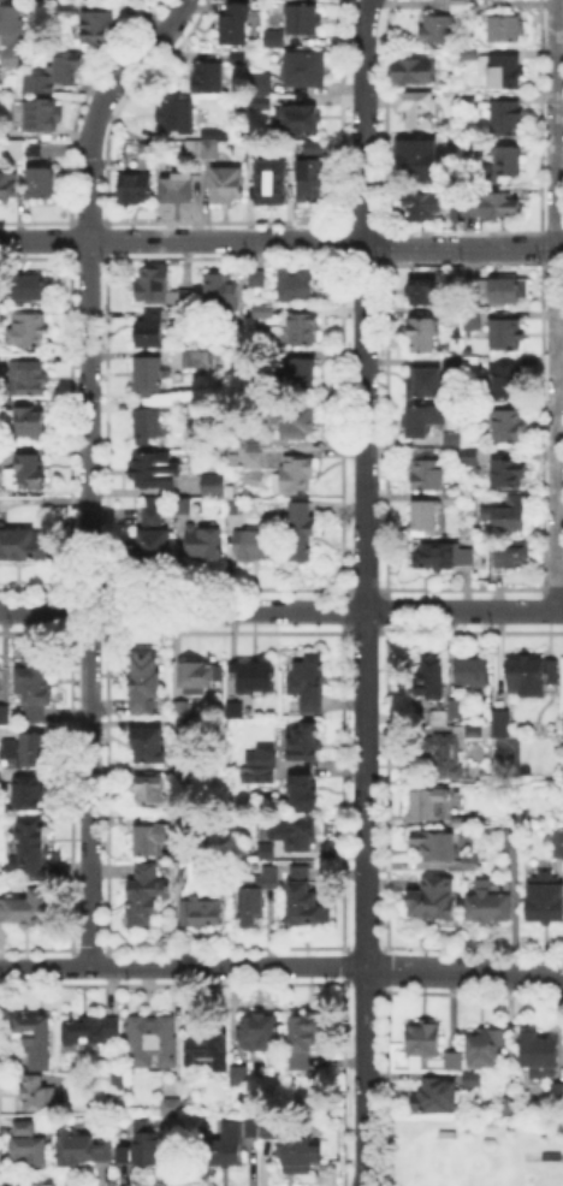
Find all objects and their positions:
building: (461, 2)
building: (239, 6)
building: (462, 10)
building: (65, 13)
building: (300, 18)
building: (11, 22)
building: (99, 25)
building: (437, 29)
building: (235, 30)
building: (508, 30)
building: (272, 36)
building: (237, 54)
building: (472, 57)
building: (11, 58)
building: (303, 67)
building: (416, 71)
building: (506, 73)
building: (58, 75)
building: (209, 77)
building: (256, 81)
building: (472, 99)
building: (257, 100)
building: (417, 109)
building: (173, 113)
building: (43, 117)
building: (296, 118)
building: (508, 119)
building: (209, 131)
building: (470, 143)
building: (310, 144)
building: (250, 147)
building: (190, 149)
building: (207, 149)
building: (16, 150)
building: (34, 150)
building: (415, 152)
building: (508, 160)
building: (490, 171)
building: (307, 177)
building: (268, 179)
building: (221, 182)
building: (42, 183)
building: (8, 185)
building: (130, 185)
building: (173, 185)
building: (500, 204)
building: (423, 206)
building: (464, 212)
road: (281, 239)
building: (260, 279)
building: (154, 284)
building: (298, 285)
building: (473, 286)
building: (31, 290)
building: (509, 290)
building: (224, 293)
building: (422, 293)
building: (189, 296)
road: (557, 306)
building: (266, 313)
building: (451, 319)
building: (2, 320)
building: (474, 320)
building: (303, 330)
building: (30, 331)
building: (152, 332)
building: (423, 336)
building: (505, 336)
building: (192, 355)
building: (472, 363)
building: (455, 366)
building: (300, 373)
building: (149, 375)
building: (30, 380)
building: (426, 381)
building: (506, 381)
building: (427, 420)
building: (296, 423)
building: (150, 426)
building: (31, 427)
building: (510, 427)
building: (452, 438)
building: (255, 440)
building: (470, 452)
building: (253, 461)
road: (89, 464)
building: (427, 472)
building: (156, 473)
building: (509, 473)
building: (28, 474)
building: (300, 474)
road: (365, 482)
building: (215, 484)
building: (231, 490)
building: (454, 497)
building: (235, 504)
building: (154, 510)
building: (509, 516)
building: (426, 521)
building: (304, 533)
building: (206, 541)
building: (23, 545)
building: (256, 546)
building: (149, 548)
building: (514, 557)
building: (445, 558)
road: (280, 610)
building: (474, 672)
building: (200, 675)
building: (256, 676)
building: (534, 677)
building: (1, 678)
building: (432, 678)
building: (310, 683)
building: (147, 684)
building: (36, 686)
building: (183, 706)
building: (236, 708)
building: (457, 708)
building: (35, 714)
building: (5, 716)
building: (438, 718)
building: (562, 718)
building: (502, 723)
building: (186, 724)
building: (474, 729)
building: (149, 742)
building: (308, 745)
building: (26, 753)
building: (267, 758)
building: (446, 759)
building: (185, 772)
building: (268, 773)
building: (152, 790)
building: (304, 794)
building: (37, 795)
building: (428, 803)
building: (460, 820)
building: (296, 836)
building: (153, 840)
building: (512, 840)
building: (557, 841)
building: (435, 844)
building: (32, 848)
building: (263, 850)
building: (470, 859)
building: (184, 871)
building: (147, 896)
building: (257, 897)
building: (546, 899)
building: (432, 900)
building: (492, 902)
building: (308, 903)
building: (205, 906)
building: (28, 908)
road: (183, 965)
road: (463, 971)
building: (89, 1031)
building: (262, 1033)
building: (420, 1037)
building: (152, 1039)
building: (306, 1040)
building: (35, 1042)
building: (484, 1045)
building: (535, 1051)
building: (208, 1054)
building: (450, 1058)
building: (241, 1073)
road: (366, 1077)
building: (469, 1077)
building: (118, 1080)
building: (556, 1089)
building: (432, 1092)
building: (40, 1095)
building: (502, 1098)
building: (173, 1109)
building: (248, 1125)
building: (266, 1125)
building: (24, 1127)
building: (227, 1143)
building: (143, 1148)
building: (298, 1149)
building: (28, 1150)
building: (84, 1151)
park: (488, 1172)

